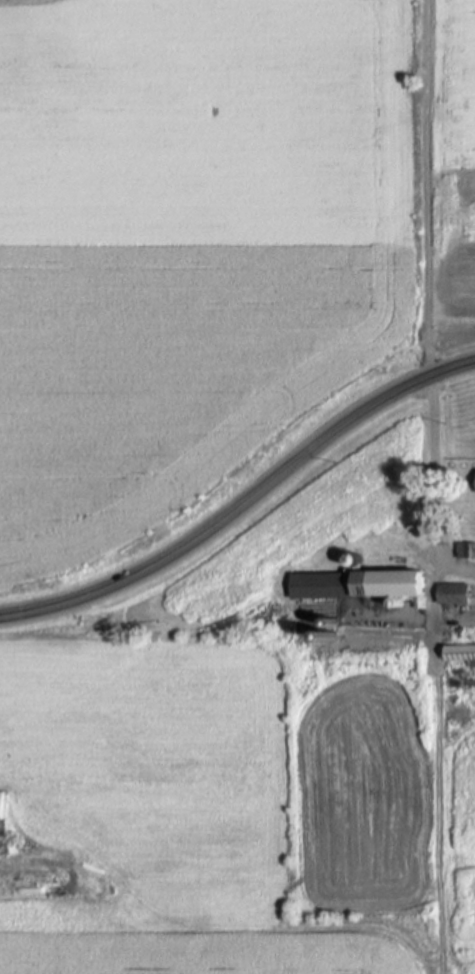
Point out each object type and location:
road: (426, 188)
road: (431, 477)
road: (243, 502)
building: (466, 550)
road: (454, 563)
building: (372, 582)
building: (454, 594)
building: (460, 655)
road: (438, 775)
building: (1, 804)
road: (180, 926)

